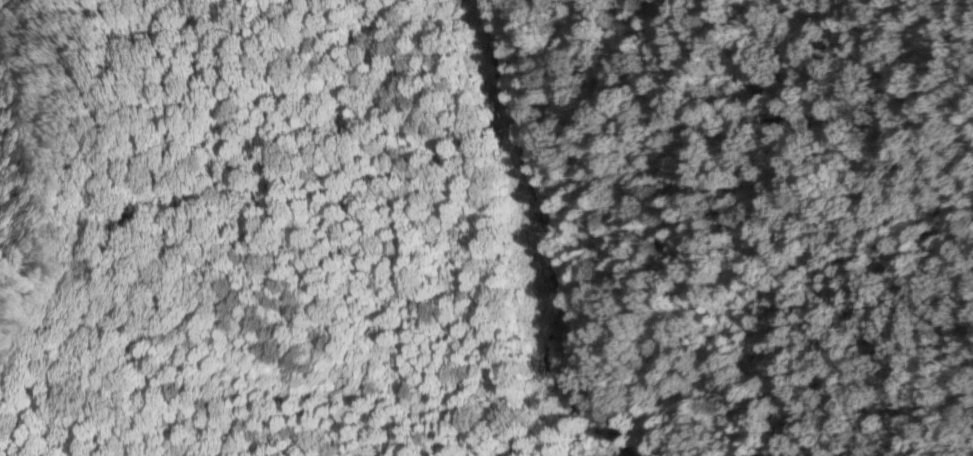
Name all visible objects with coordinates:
road: (565, 230)

